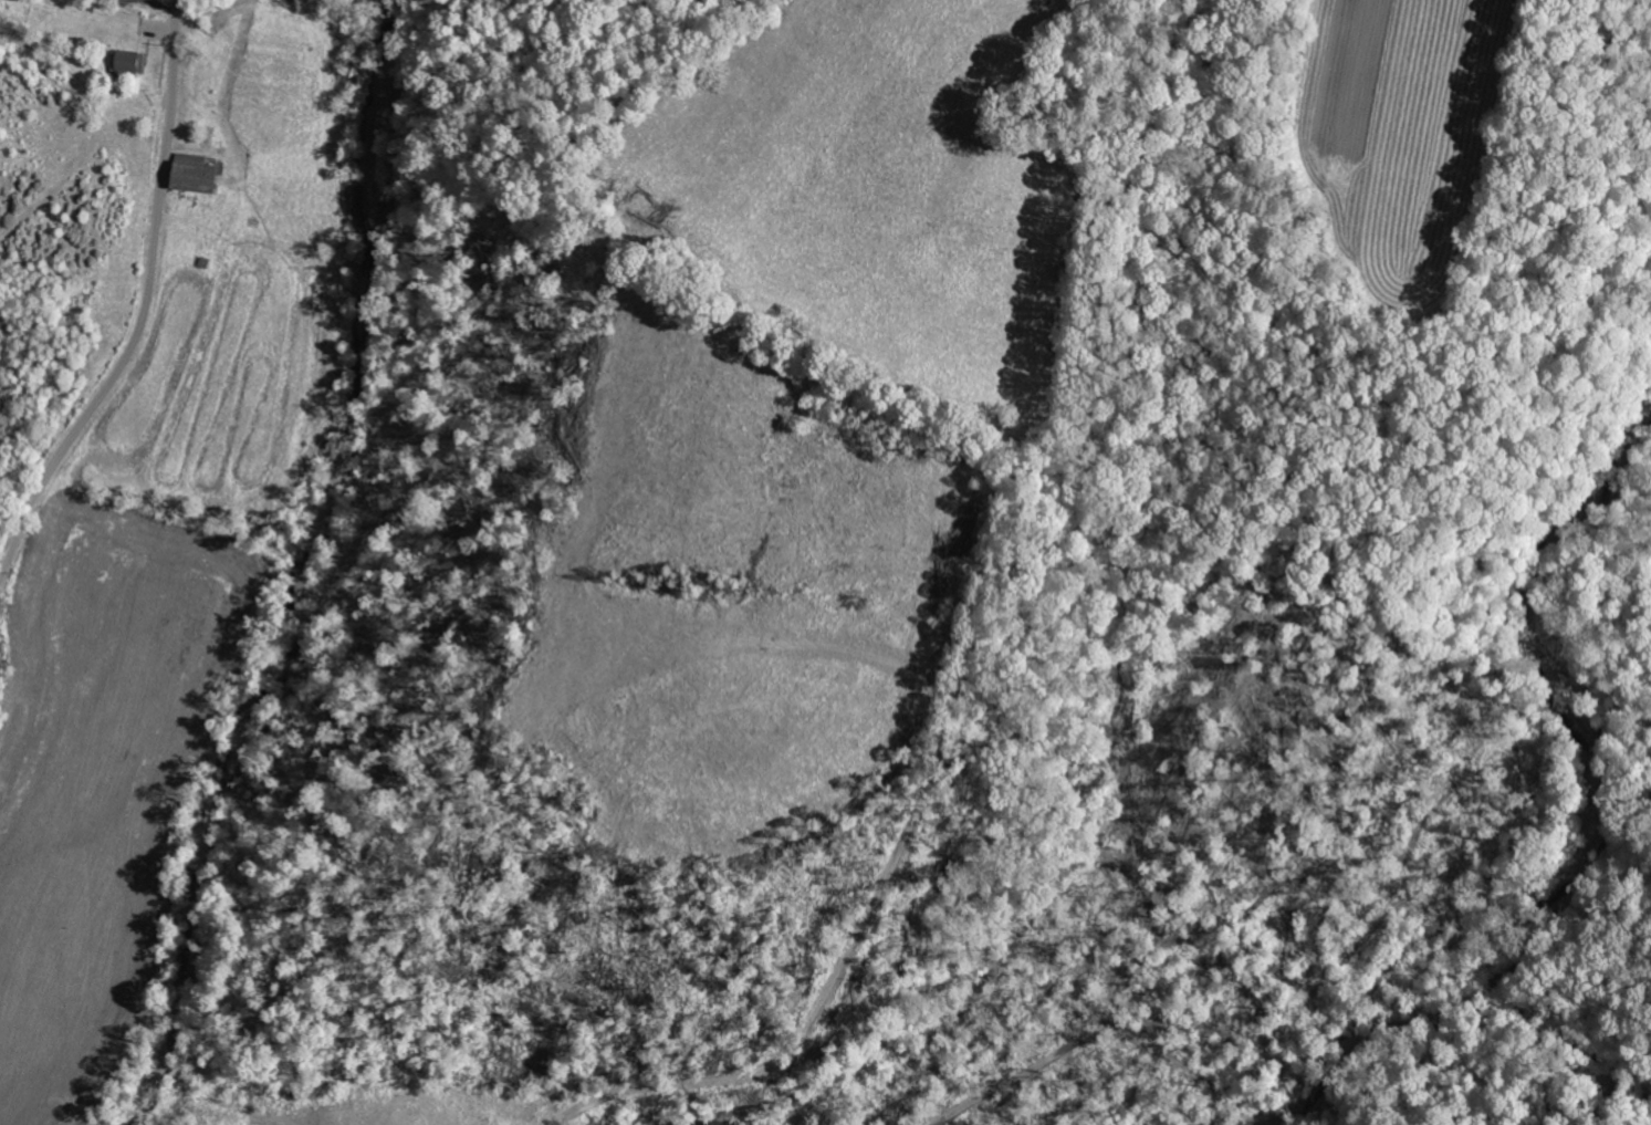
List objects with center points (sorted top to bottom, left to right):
building: (126, 59)
building: (198, 175)
road: (144, 301)
road: (362, 882)

